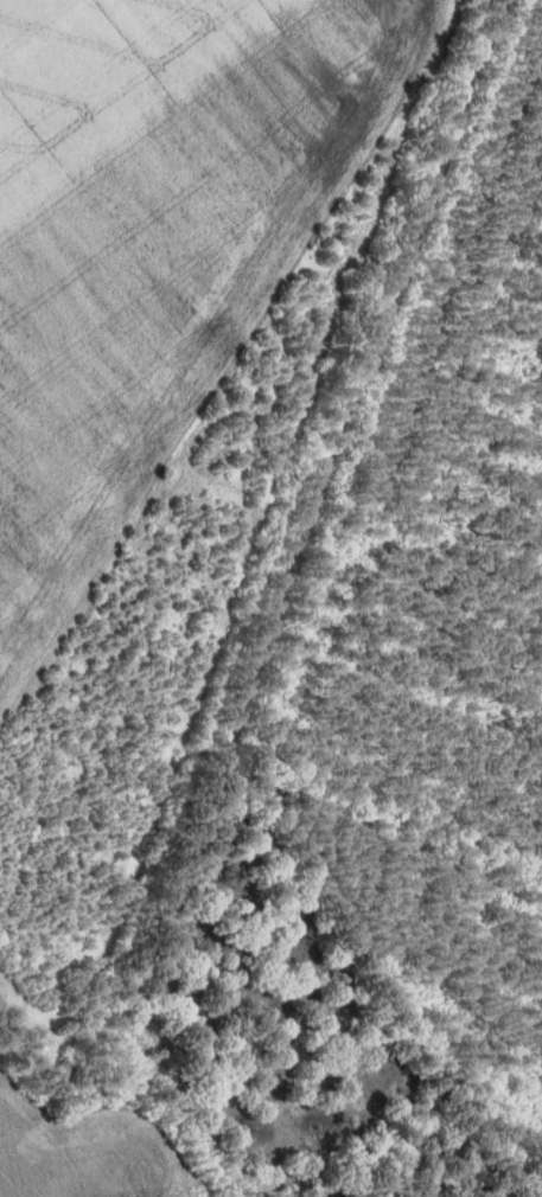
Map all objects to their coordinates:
road: (383, 359)

